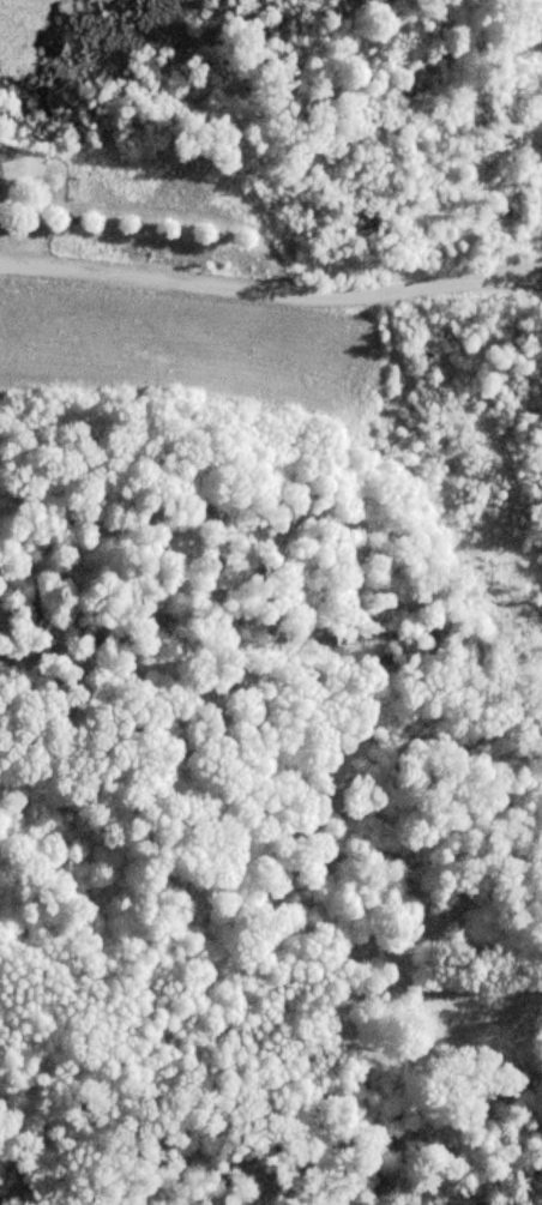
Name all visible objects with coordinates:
road: (177, 278)
road: (448, 283)

